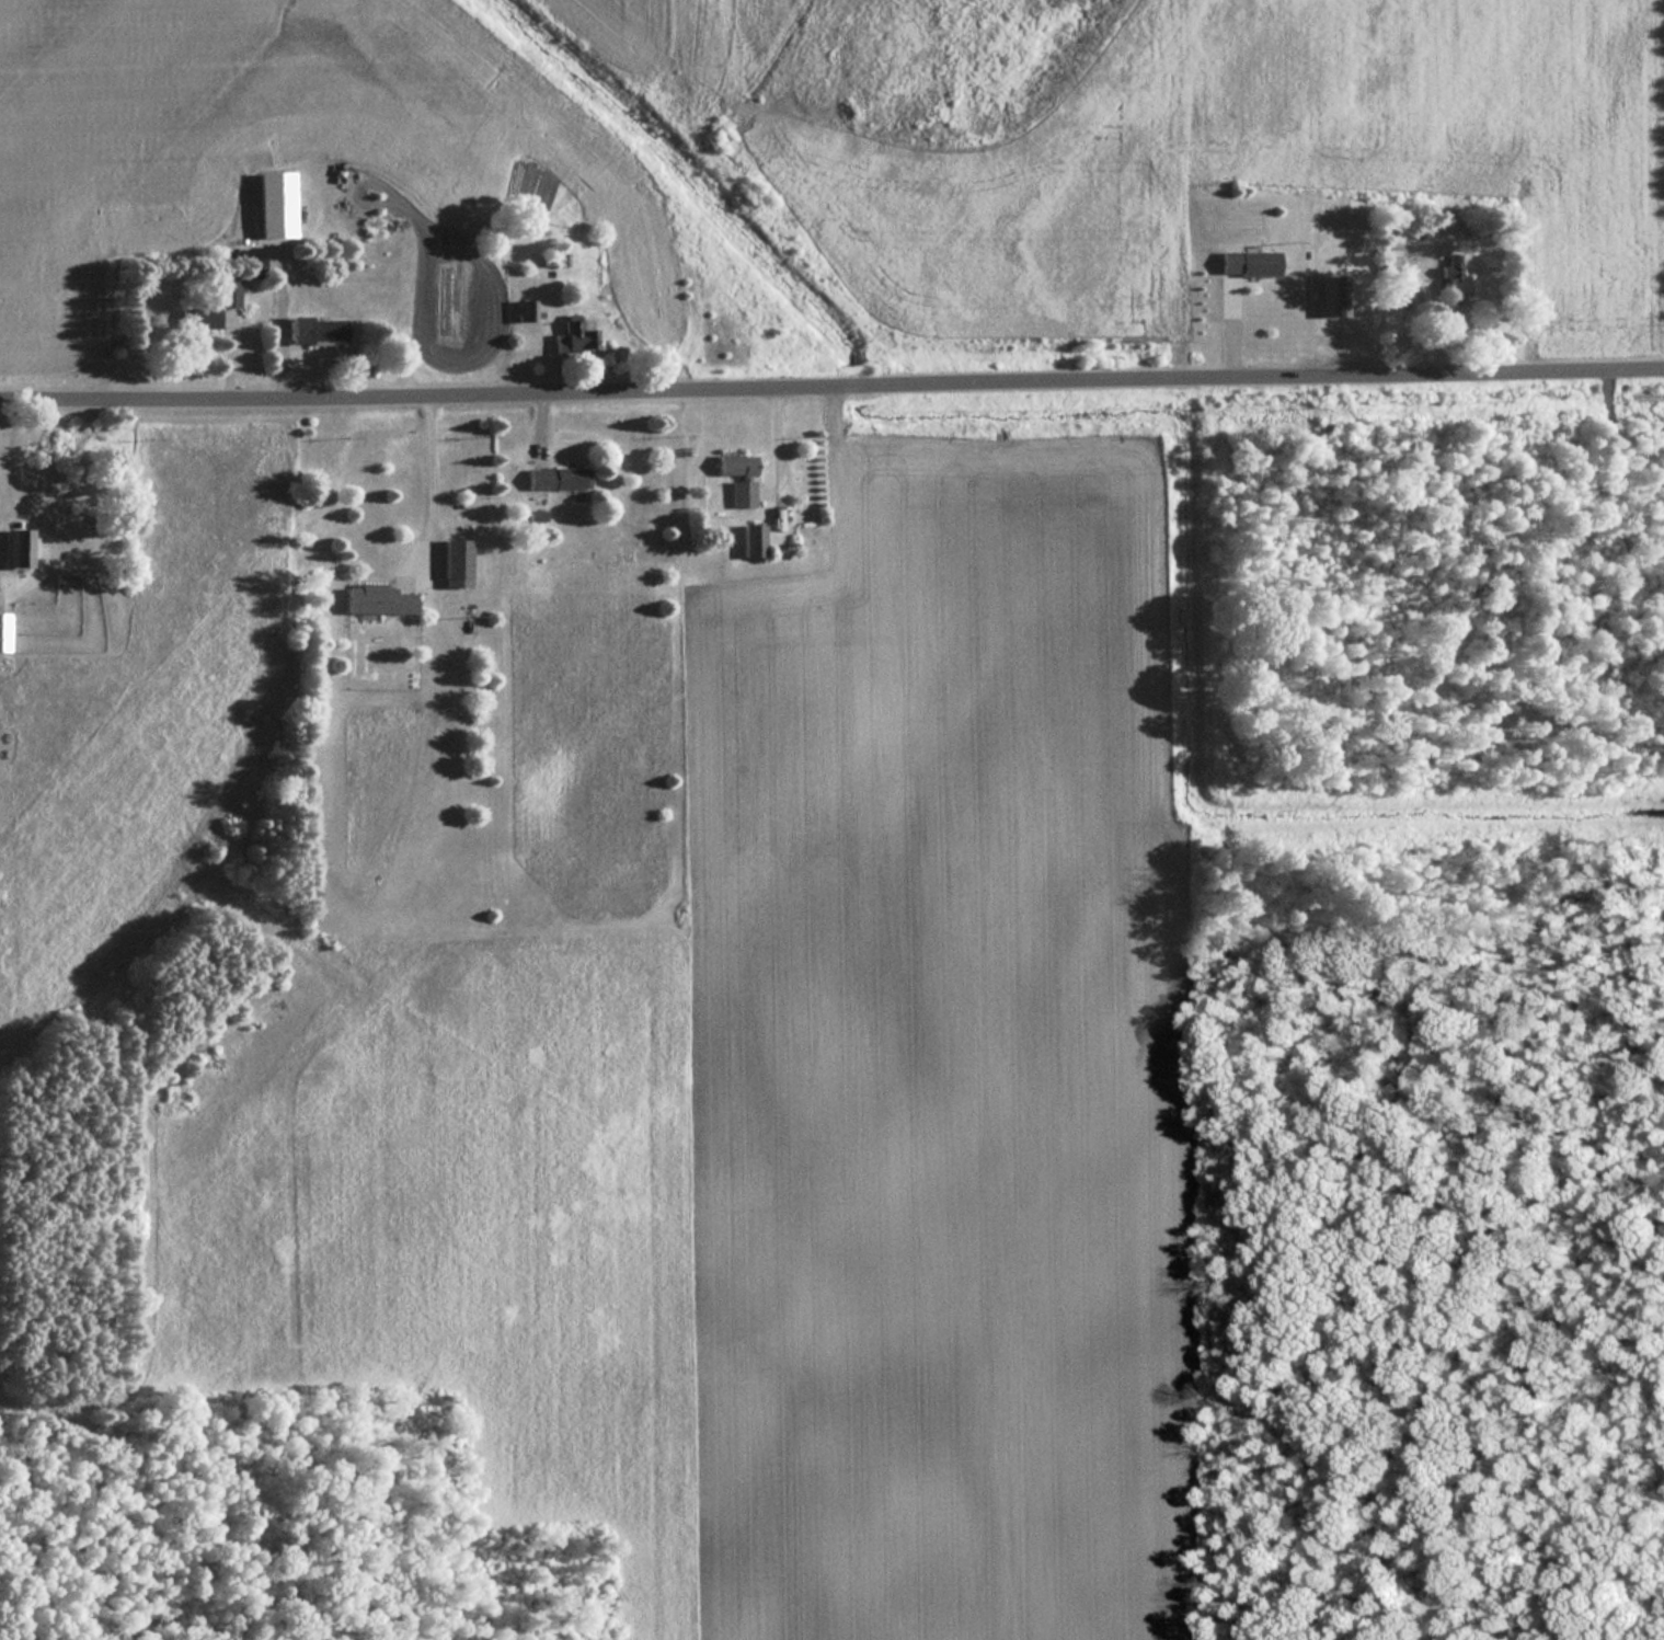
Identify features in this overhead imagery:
building: (273, 204)
building: (554, 259)
building: (1246, 263)
building: (1450, 280)
building: (1334, 295)
building: (209, 305)
building: (526, 310)
building: (315, 330)
building: (573, 337)
road: (831, 392)
building: (734, 465)
building: (555, 479)
road: (425, 484)
building: (741, 493)
building: (750, 540)
building: (14, 543)
building: (457, 560)
building: (378, 600)
building: (3, 632)

